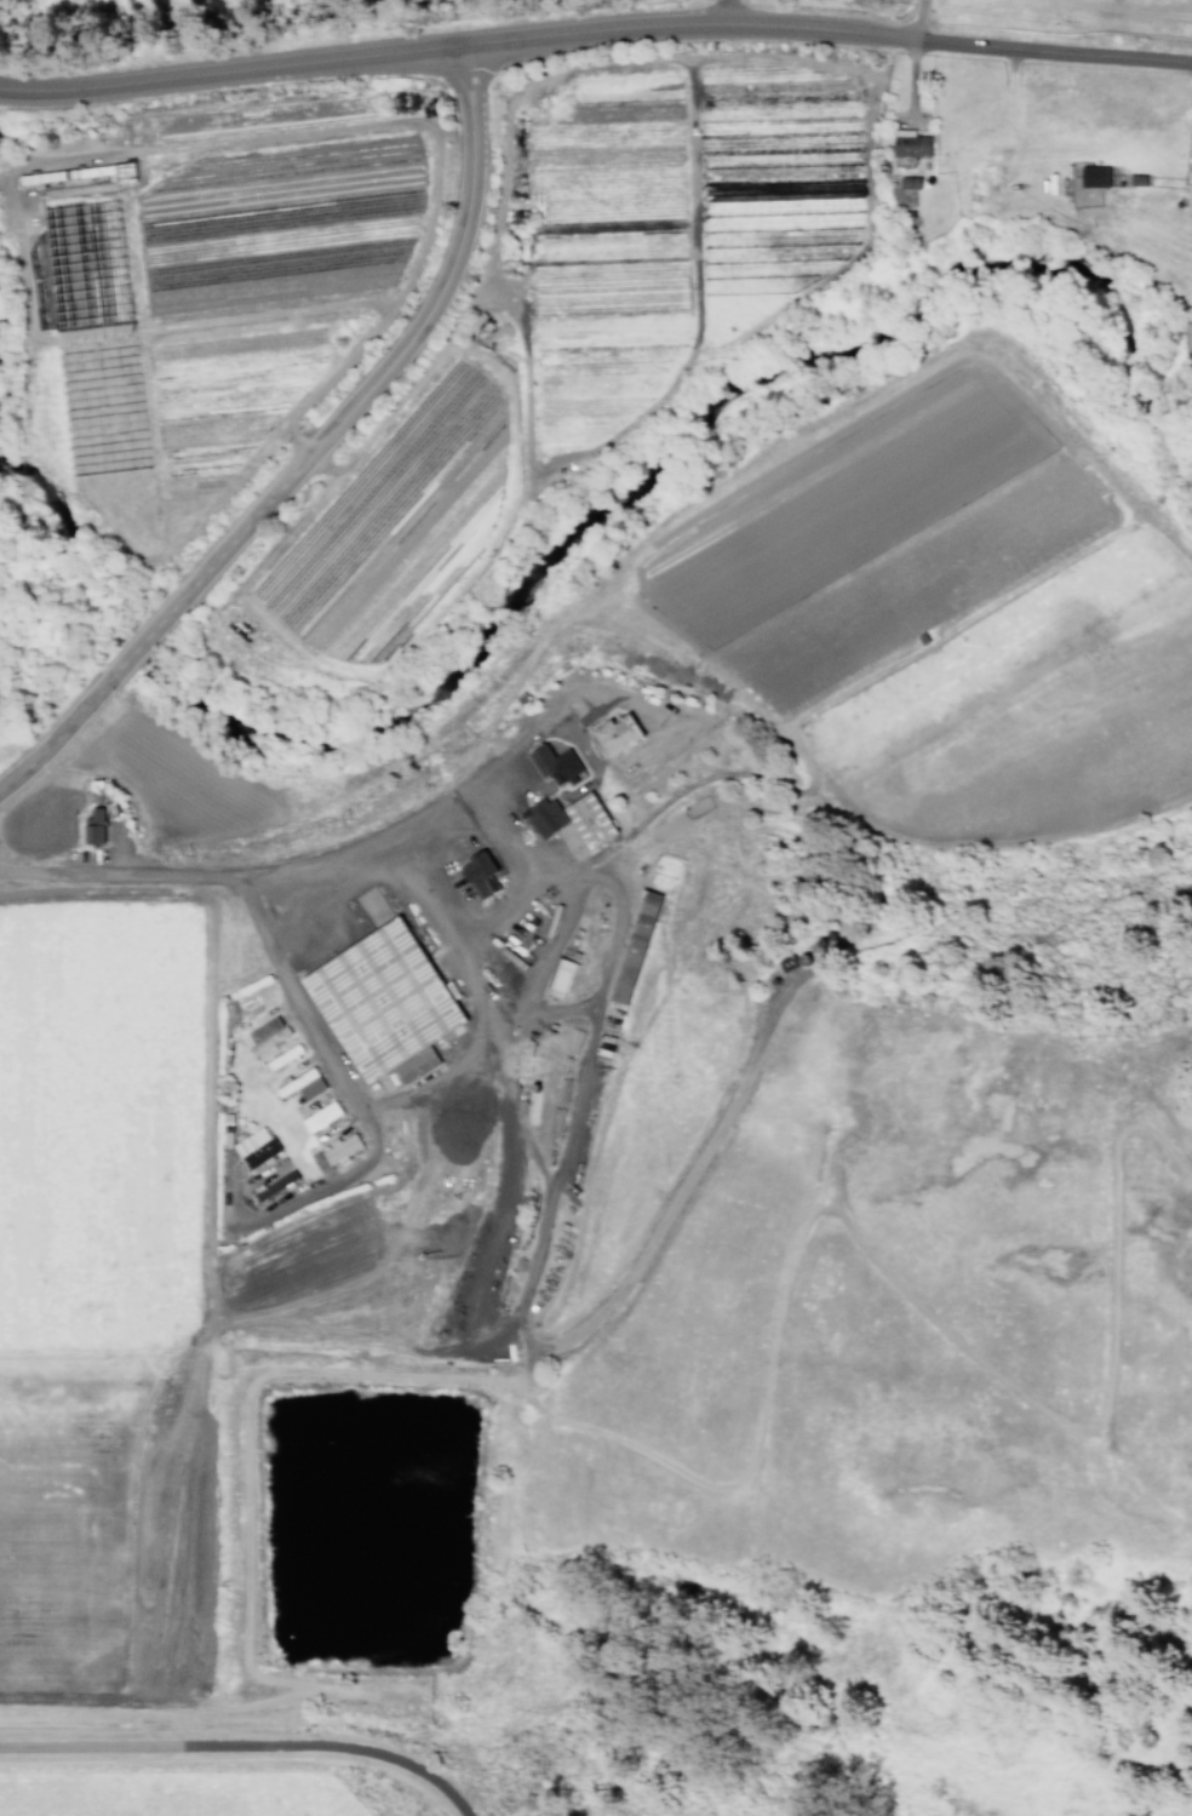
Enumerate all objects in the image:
road: (733, 11)
road: (917, 17)
road: (829, 23)
road: (233, 69)
building: (911, 144)
building: (82, 173)
building: (1095, 176)
building: (92, 325)
road: (403, 354)
crop: (569, 430)
road: (147, 638)
building: (620, 733)
road: (58, 738)
building: (557, 763)
building: (545, 817)
building: (591, 819)
building: (96, 826)
road: (371, 841)
building: (481, 873)
road: (458, 934)
building: (789, 962)
building: (562, 973)
building: (383, 1002)
road: (291, 1006)
building: (268, 1033)
building: (283, 1056)
building: (303, 1084)
building: (322, 1115)
building: (256, 1147)
building: (343, 1147)
crop: (107, 1282)
road: (228, 1758)

